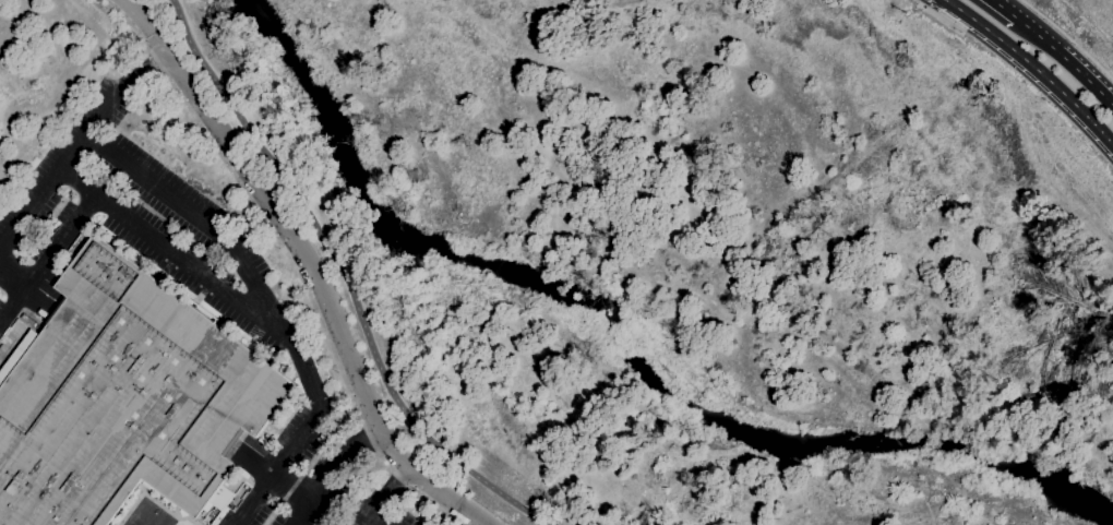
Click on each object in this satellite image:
road: (1003, 8)
road: (940, 19)
road: (171, 37)
road: (1067, 39)
road: (1066, 58)
road: (1032, 68)
road: (76, 144)
road: (177, 259)
road: (45, 260)
road: (291, 261)
road: (306, 265)
road: (12, 278)
road: (337, 286)
road: (271, 306)
building: (27, 320)
river: (629, 345)
building: (123, 398)
road: (333, 474)
road: (299, 482)
road: (385, 496)
building: (222, 498)
park: (147, 516)
road: (382, 518)

